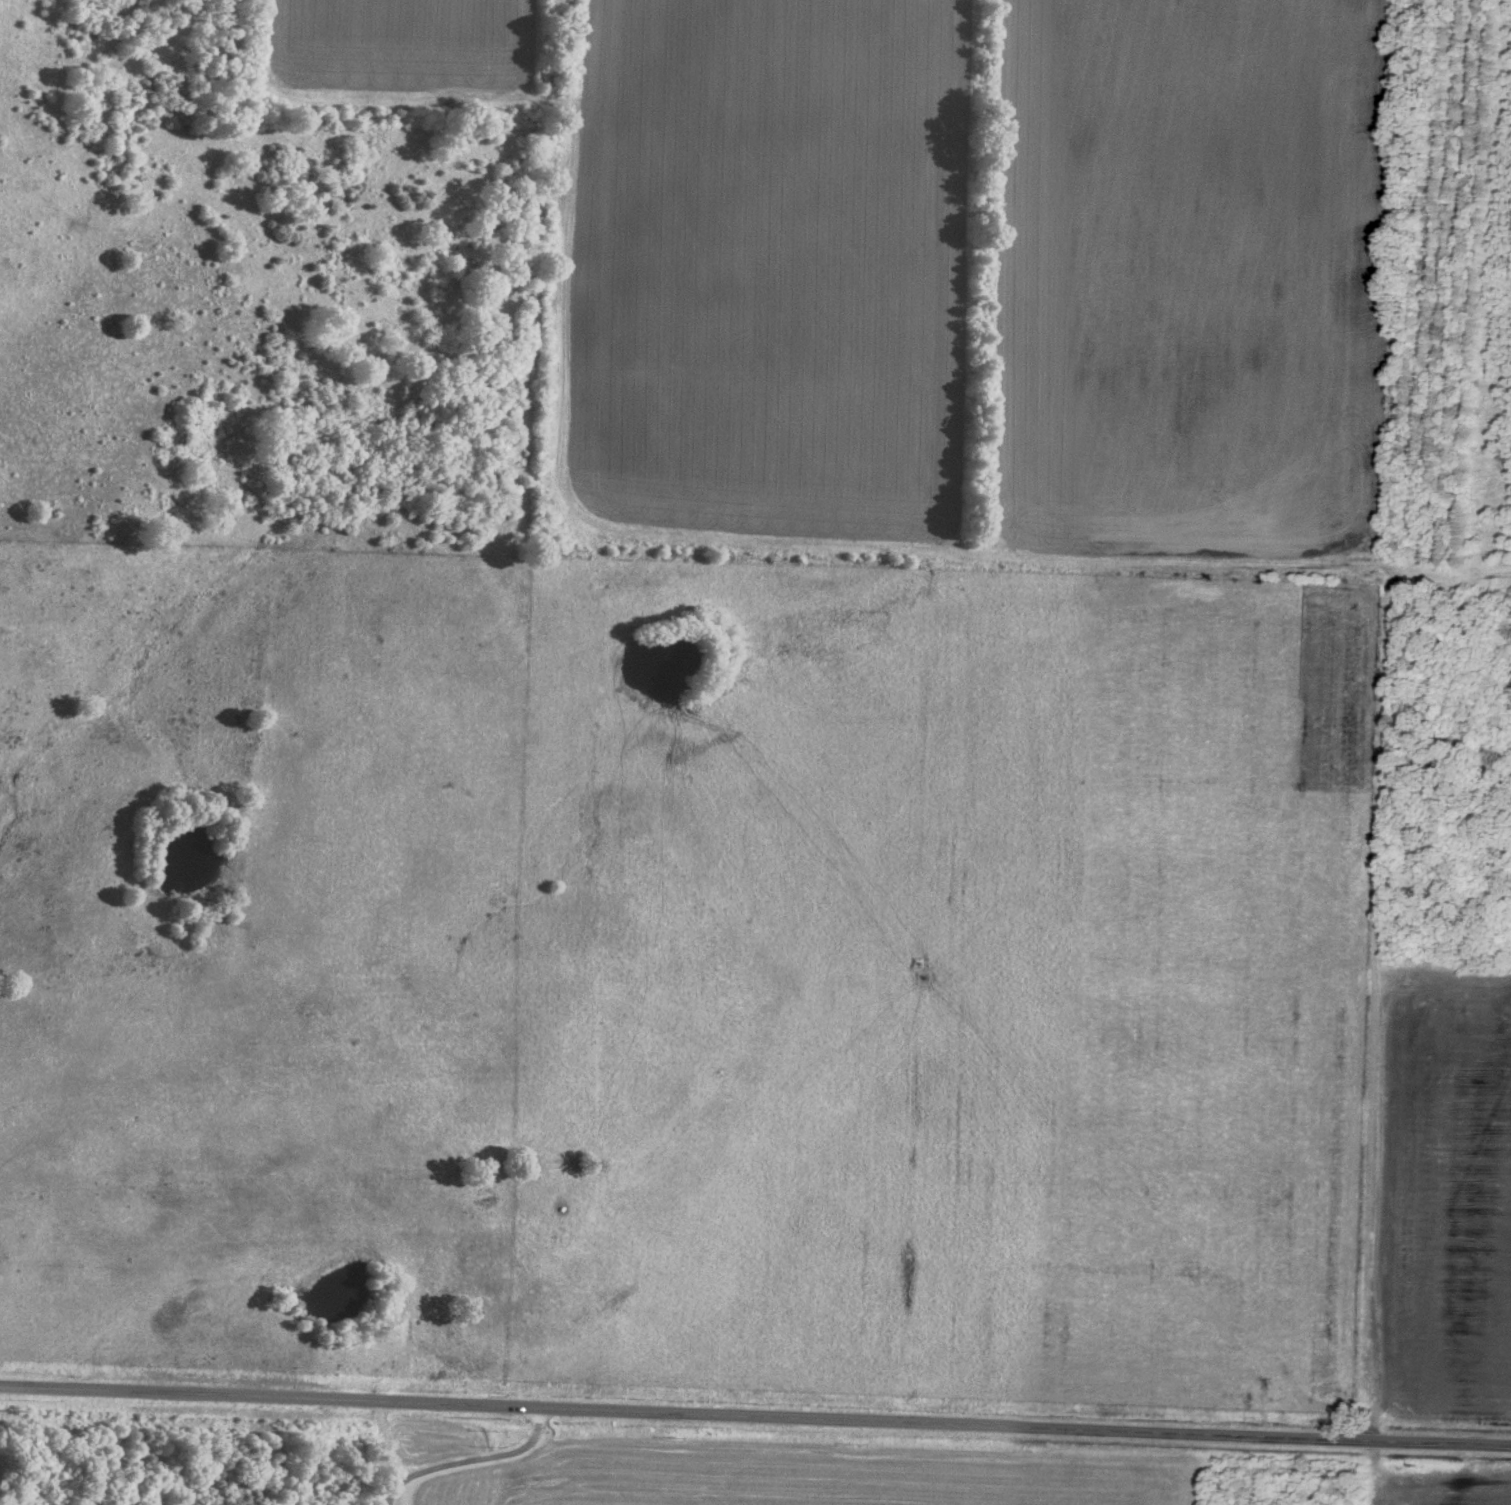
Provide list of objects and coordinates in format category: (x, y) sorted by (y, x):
road: (755, 1417)
road: (387, 1455)
road: (476, 1459)

